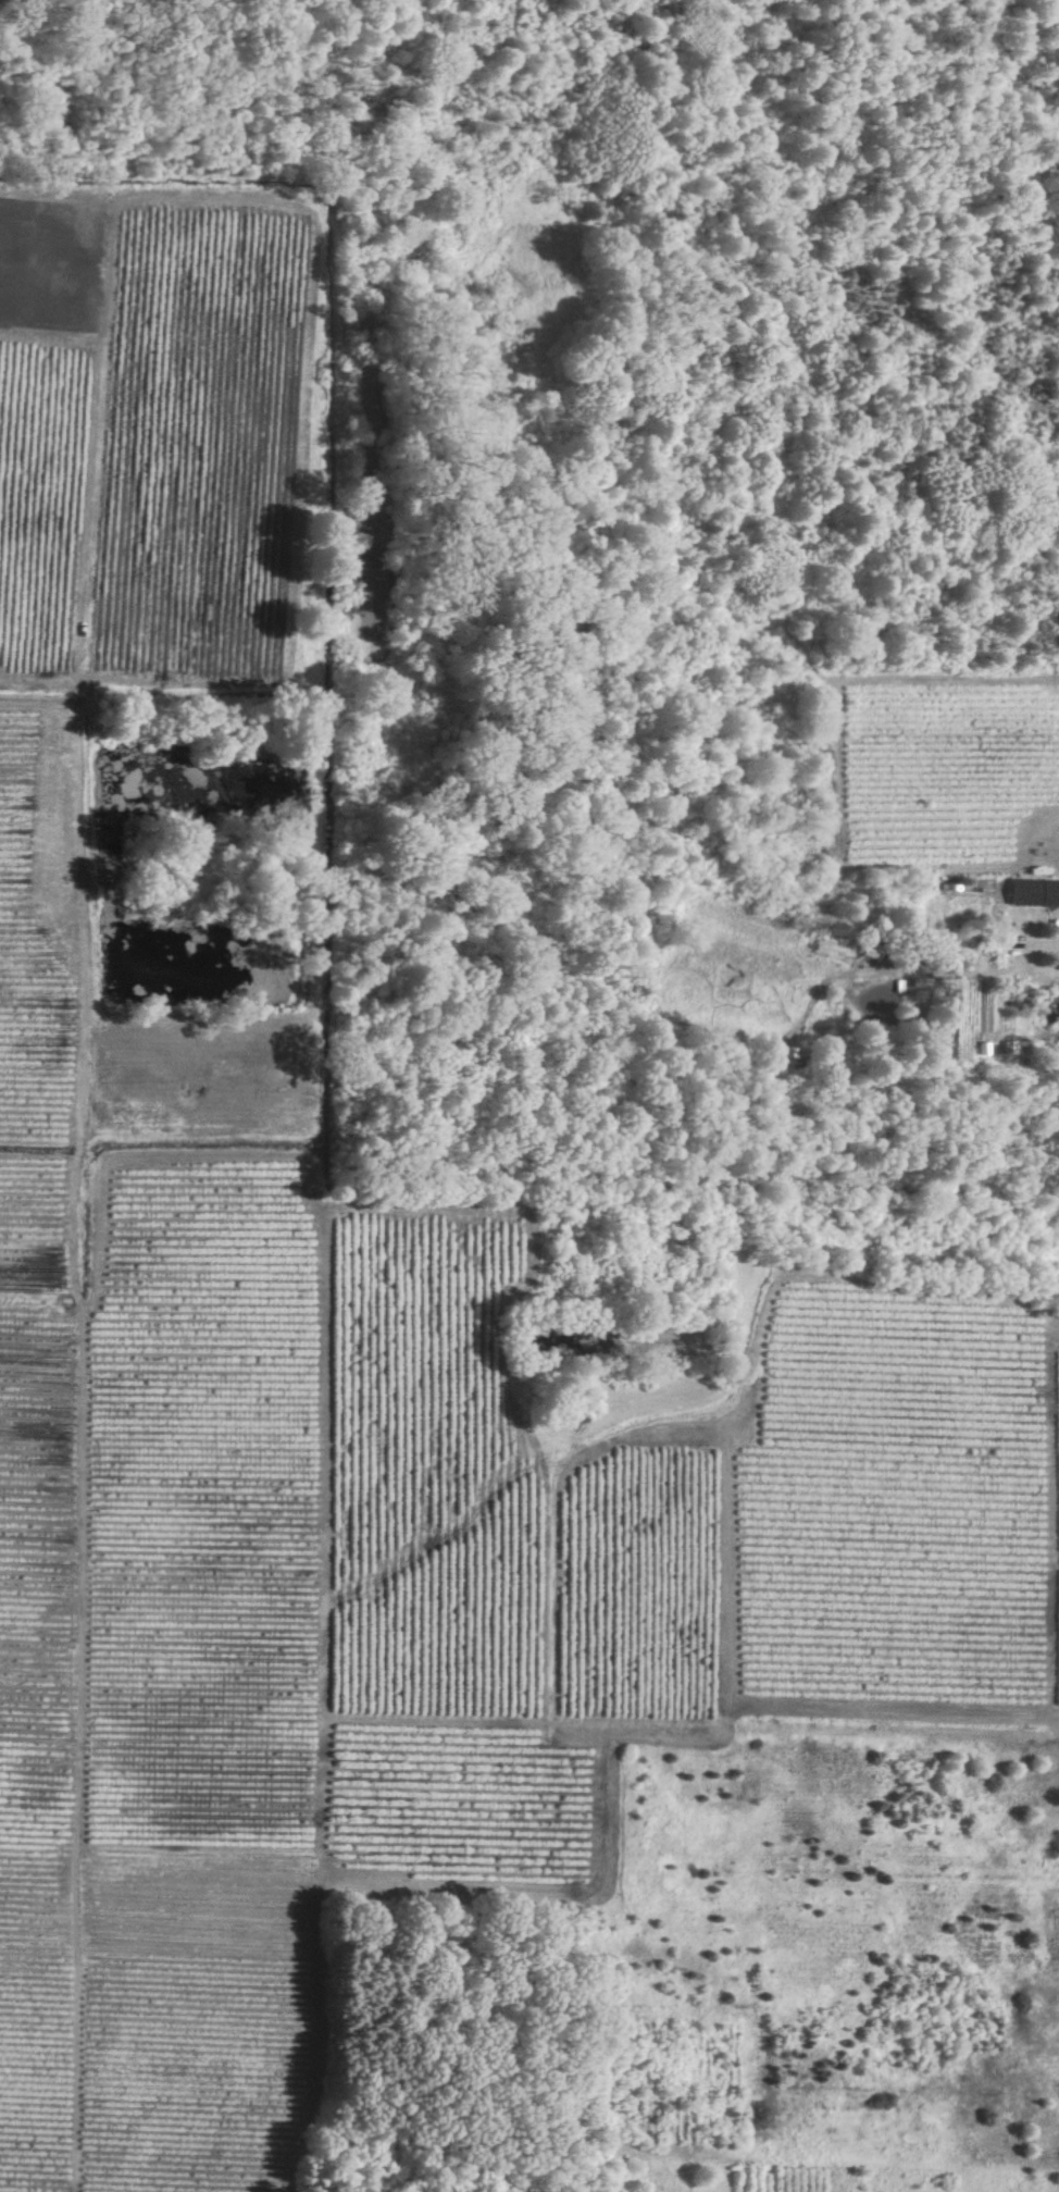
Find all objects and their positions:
building: (1033, 893)
road: (1054, 943)

